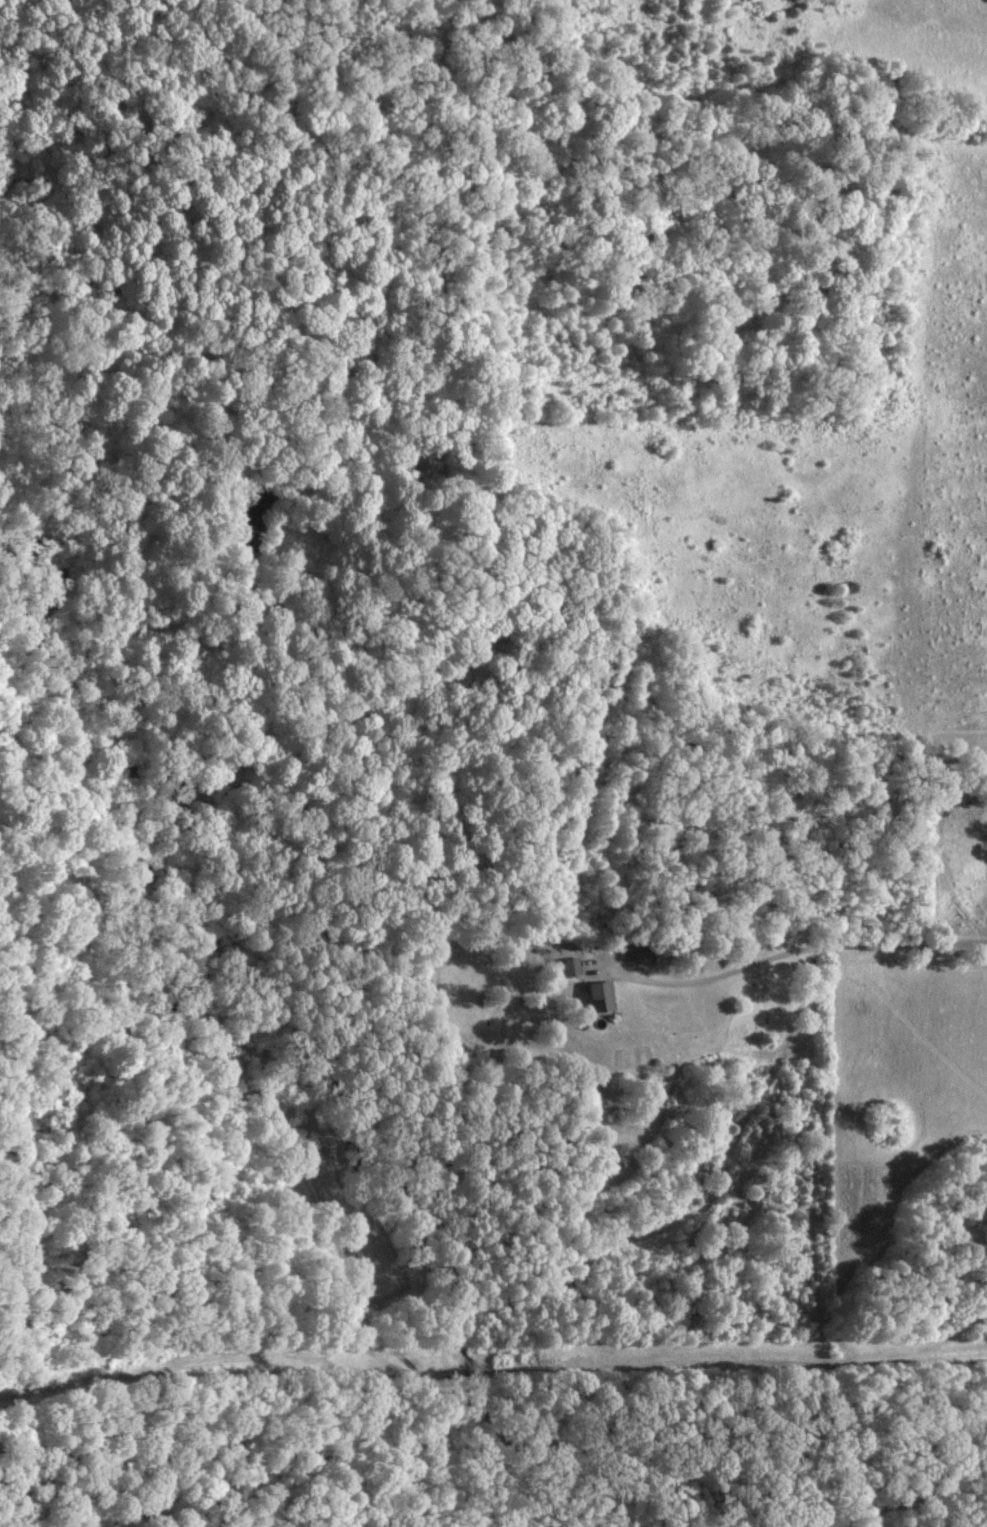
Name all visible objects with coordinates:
road: (793, 951)
building: (641, 954)
building: (571, 965)
building: (603, 995)

